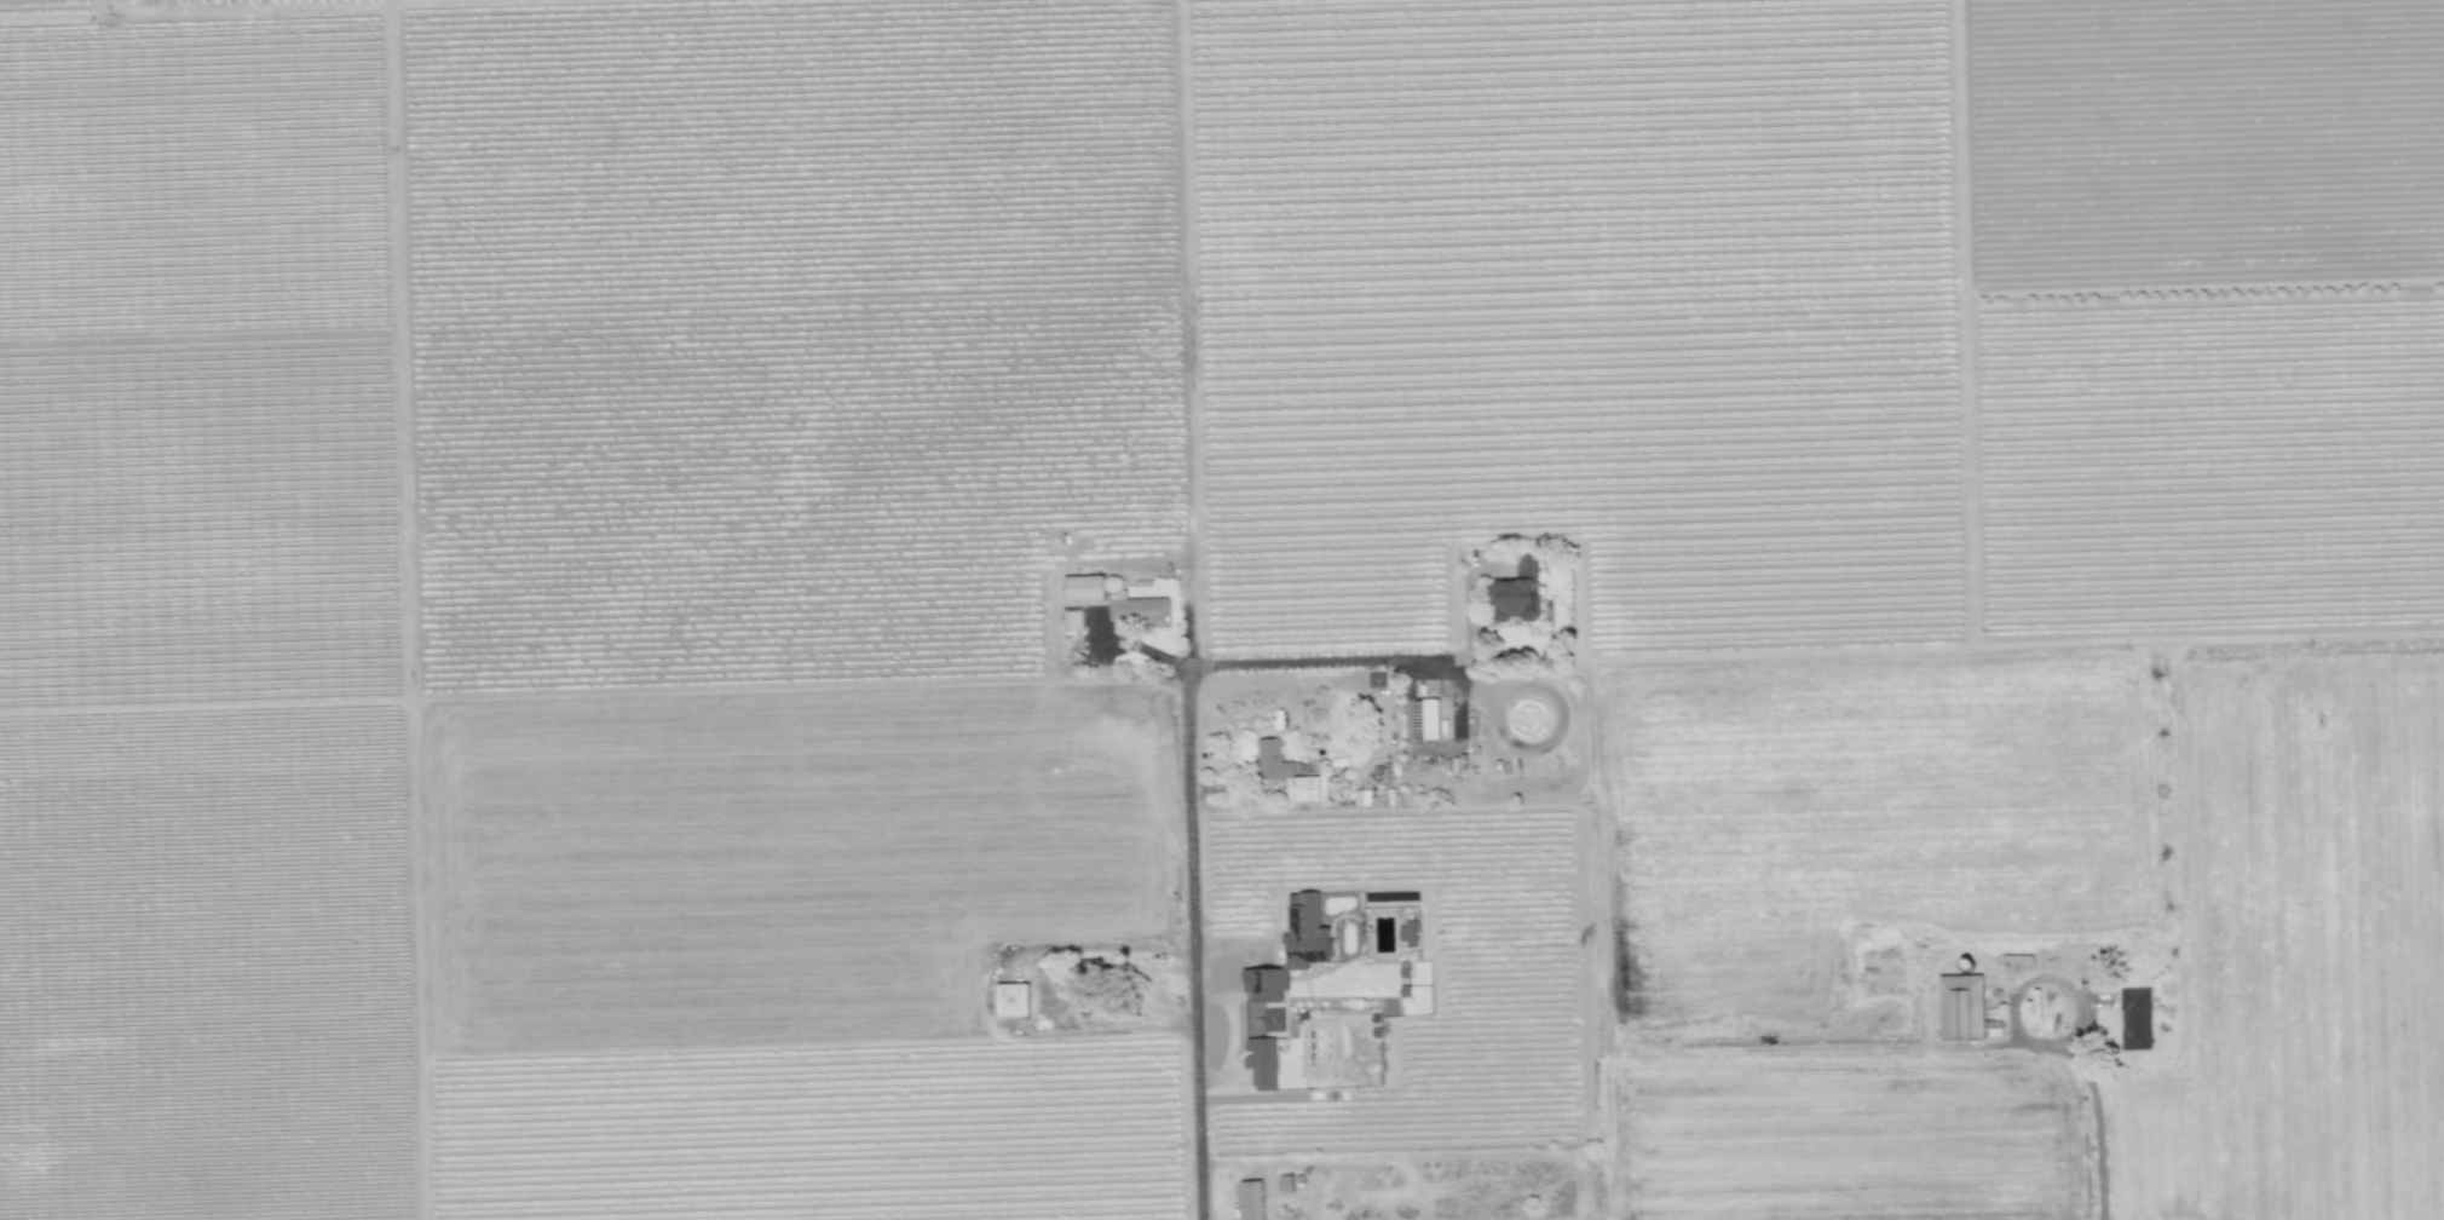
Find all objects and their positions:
building: (1083, 587)
building: (1518, 592)
building: (1141, 610)
building: (1072, 618)
road: (1451, 674)
road: (546, 698)
building: (1430, 717)
building: (1289, 772)
road: (1199, 888)
building: (1407, 933)
road: (1055, 945)
building: (1287, 961)
road: (2027, 979)
building: (1011, 999)
building: (1961, 1006)
building: (2134, 1018)
road: (812, 1047)
building: (1261, 1061)
road: (2097, 1129)
building: (1251, 1199)

